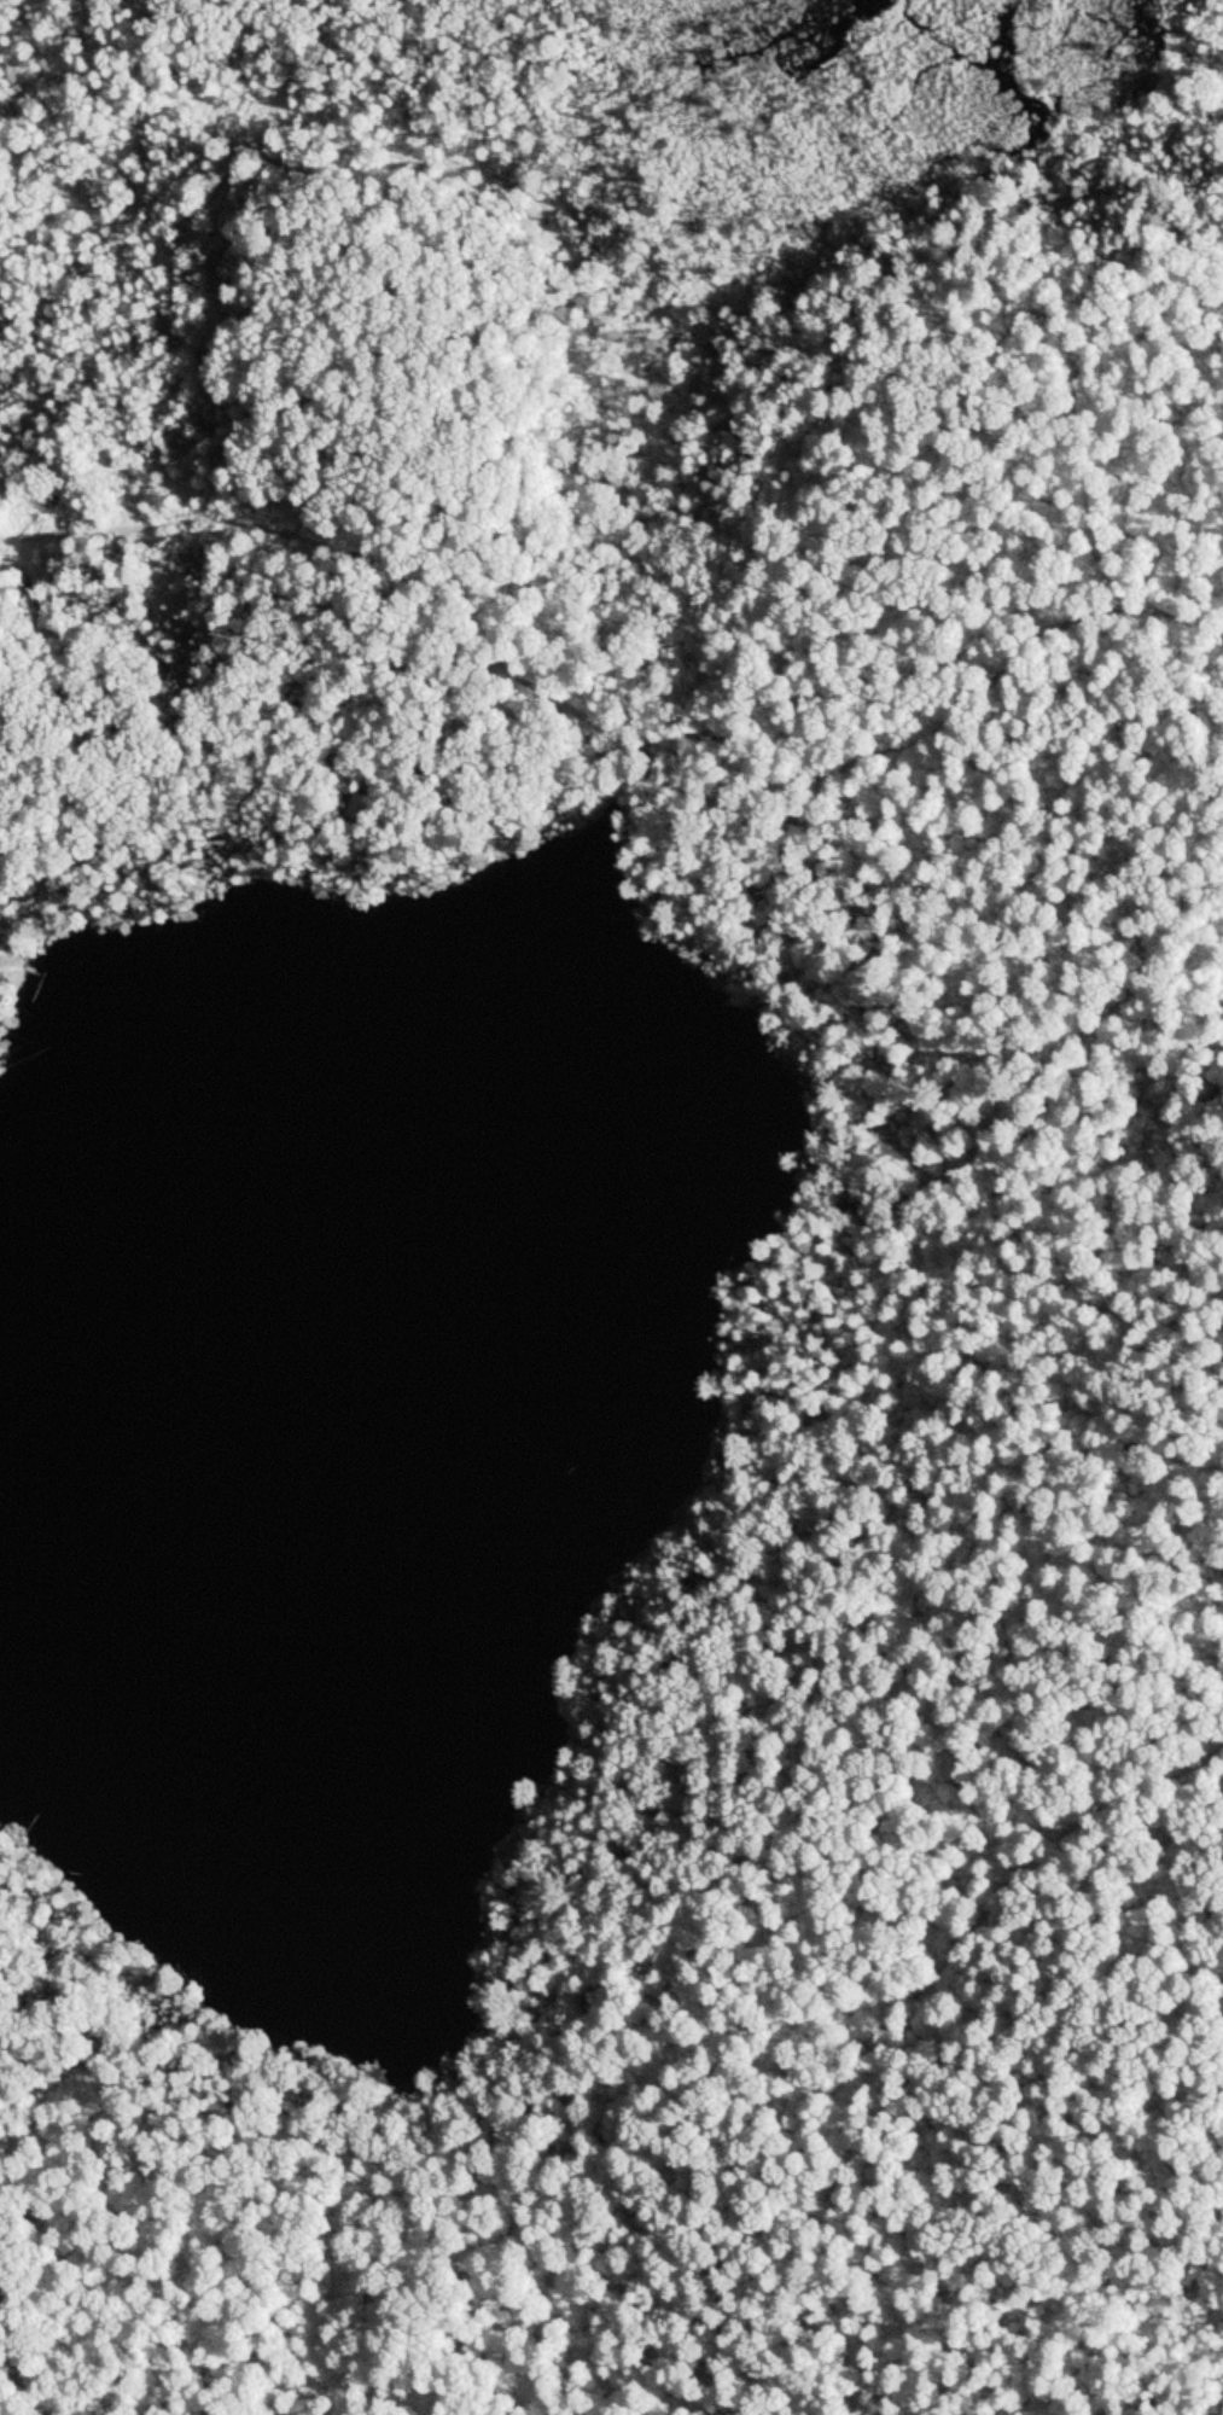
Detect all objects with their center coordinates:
road: (629, 651)

